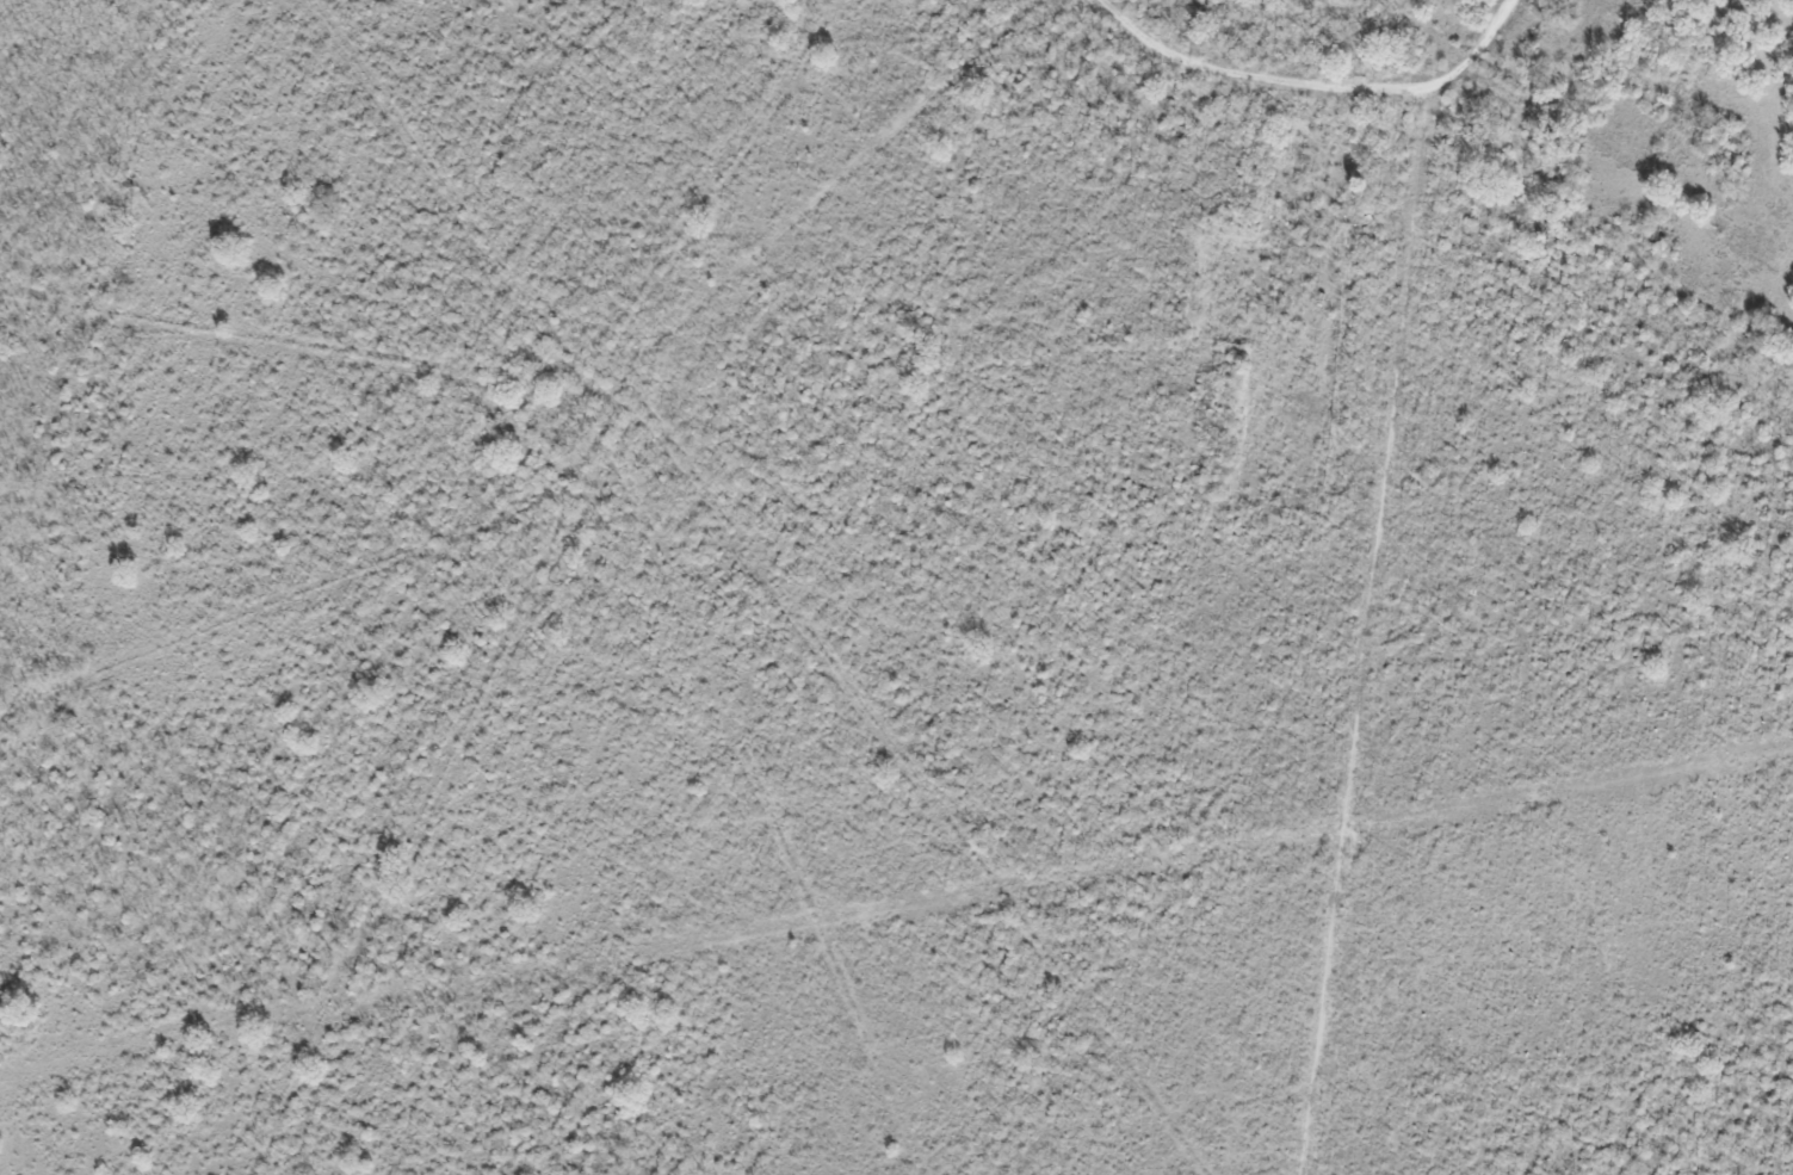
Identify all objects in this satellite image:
road: (1316, 86)
road: (1365, 632)

